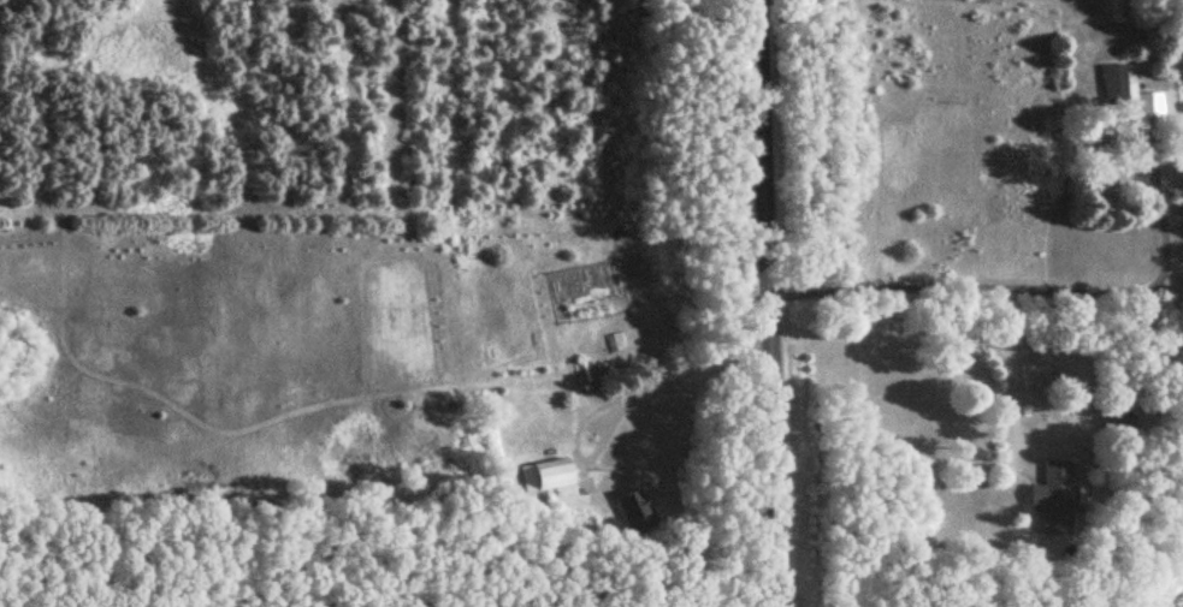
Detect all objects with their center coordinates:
building: (1116, 85)
building: (1152, 107)
road: (768, 303)
road: (976, 340)
building: (603, 346)
road: (623, 401)
road: (1007, 403)
building: (545, 476)
building: (1053, 499)
building: (632, 512)

